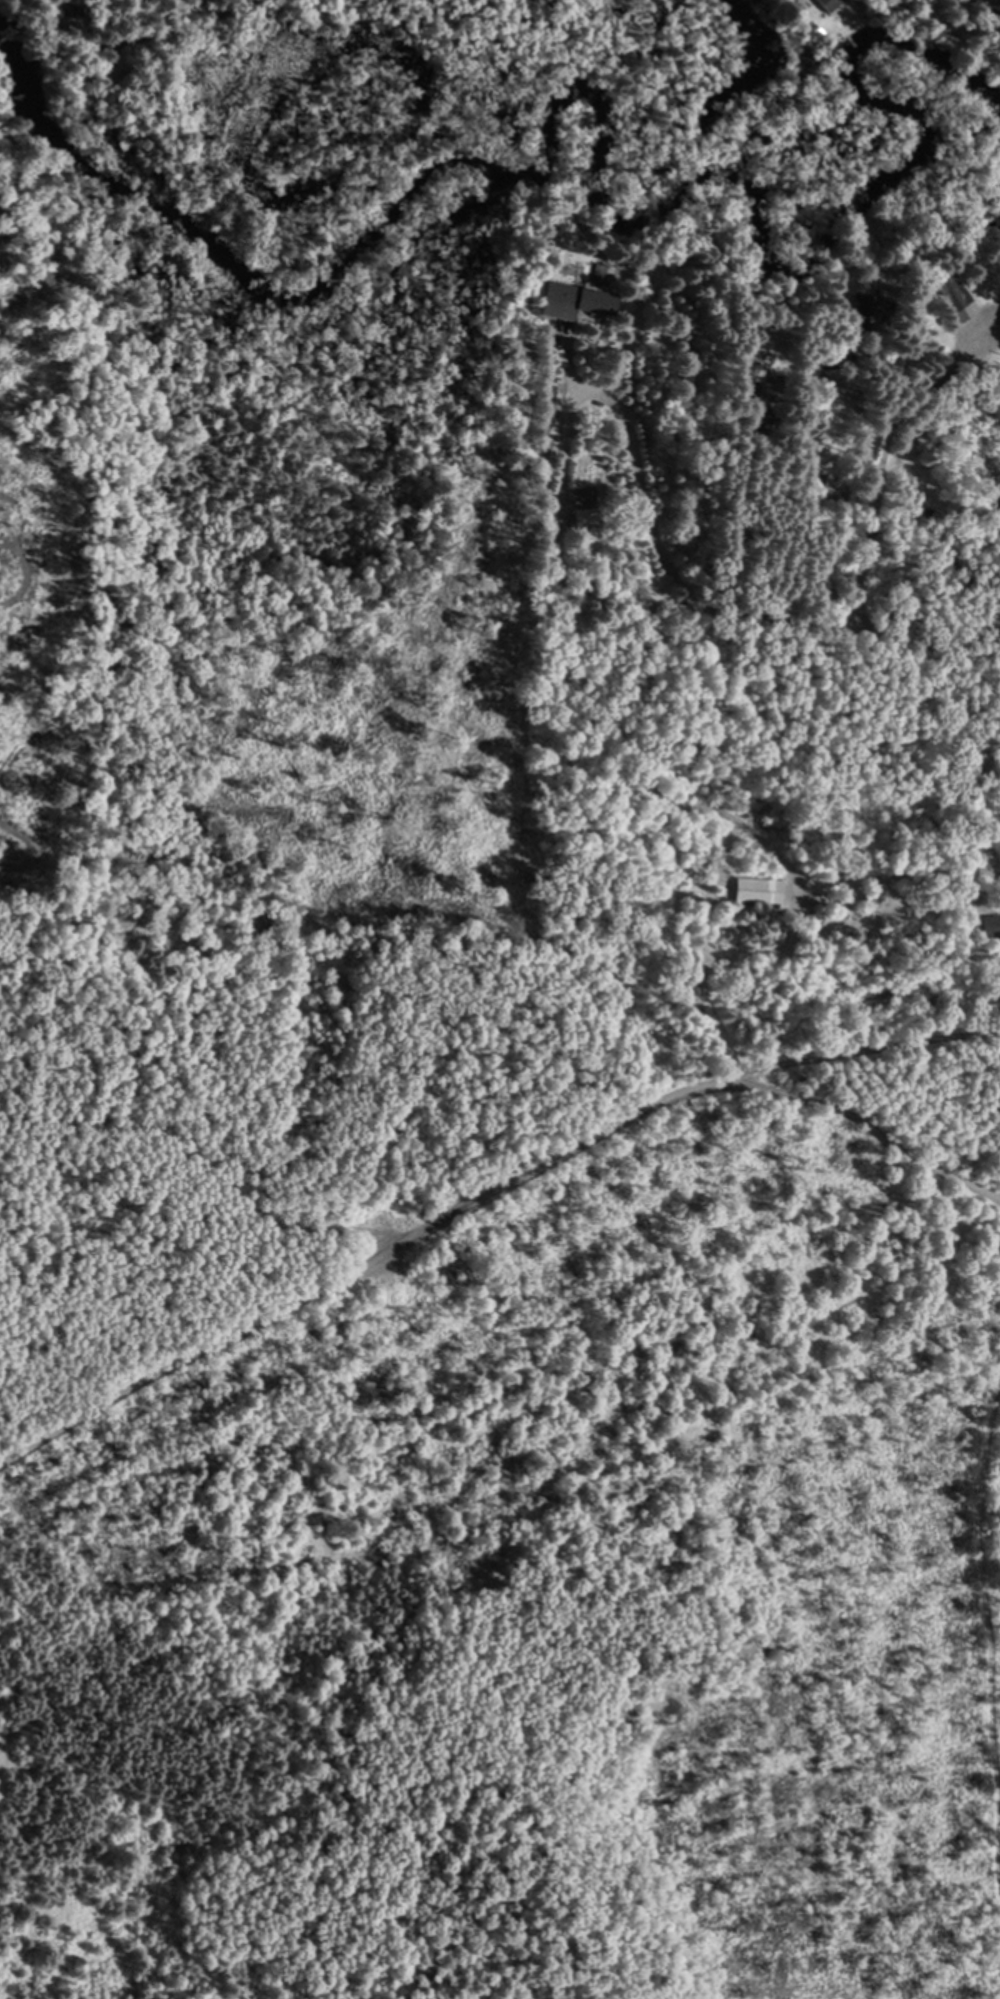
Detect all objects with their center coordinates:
building: (827, 4)
river: (590, 209)
building: (950, 292)
building: (577, 303)
building: (862, 305)
building: (584, 516)
road: (721, 608)
building: (759, 890)
road: (869, 1134)
road: (213, 1167)
road: (481, 1197)

